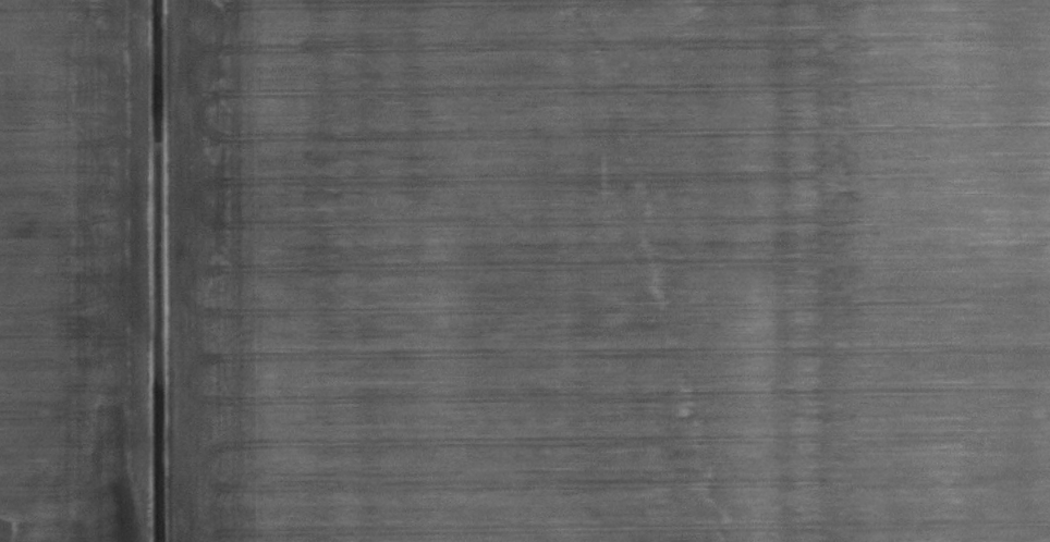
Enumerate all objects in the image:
road: (152, 271)

